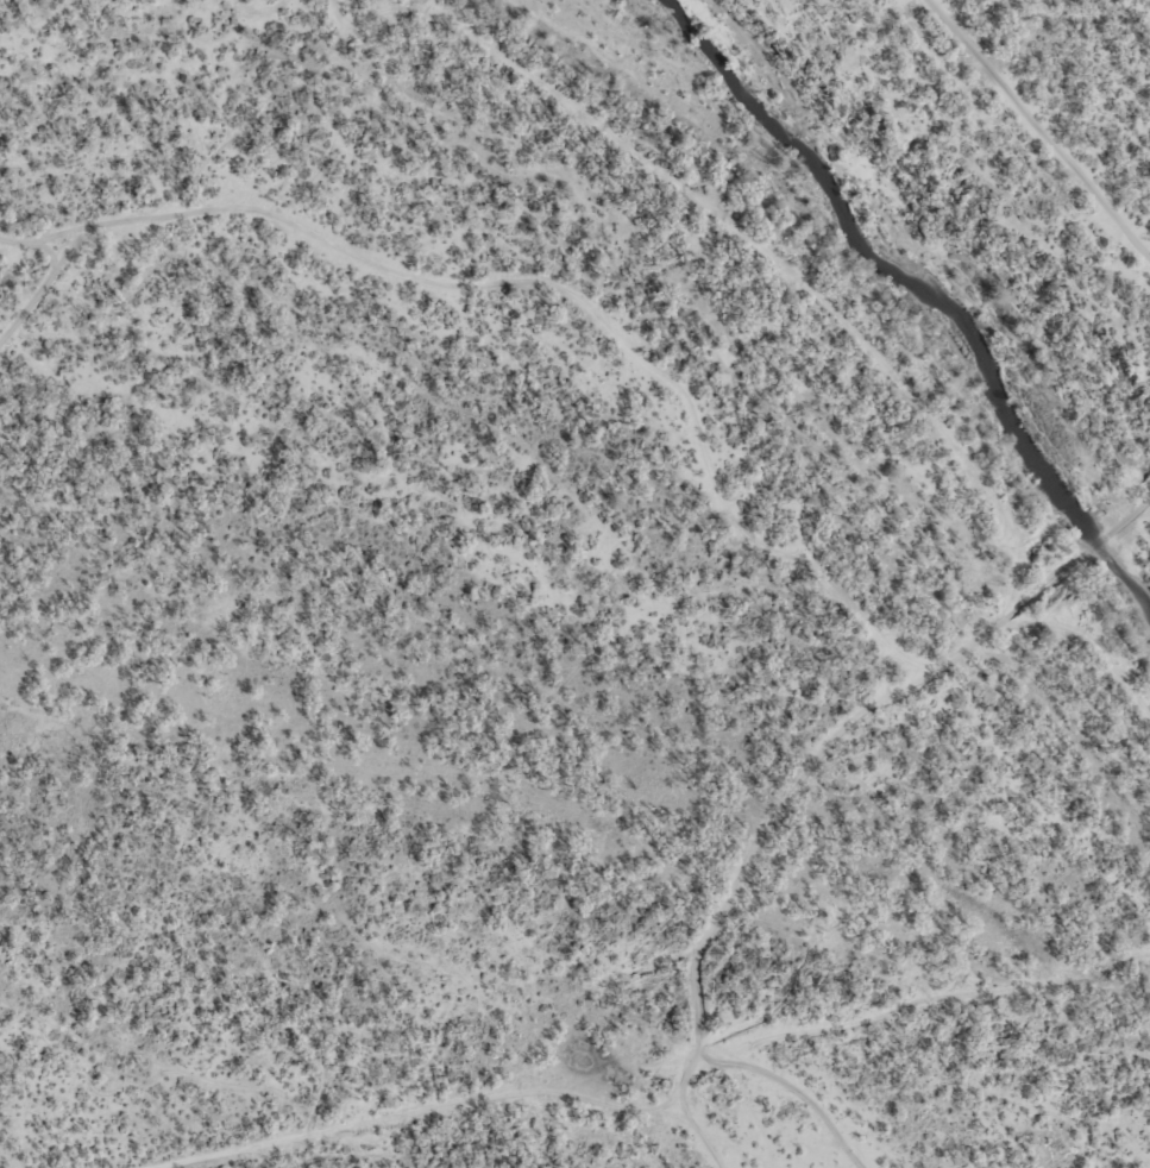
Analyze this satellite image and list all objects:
river: (932, 283)
road: (662, 978)

